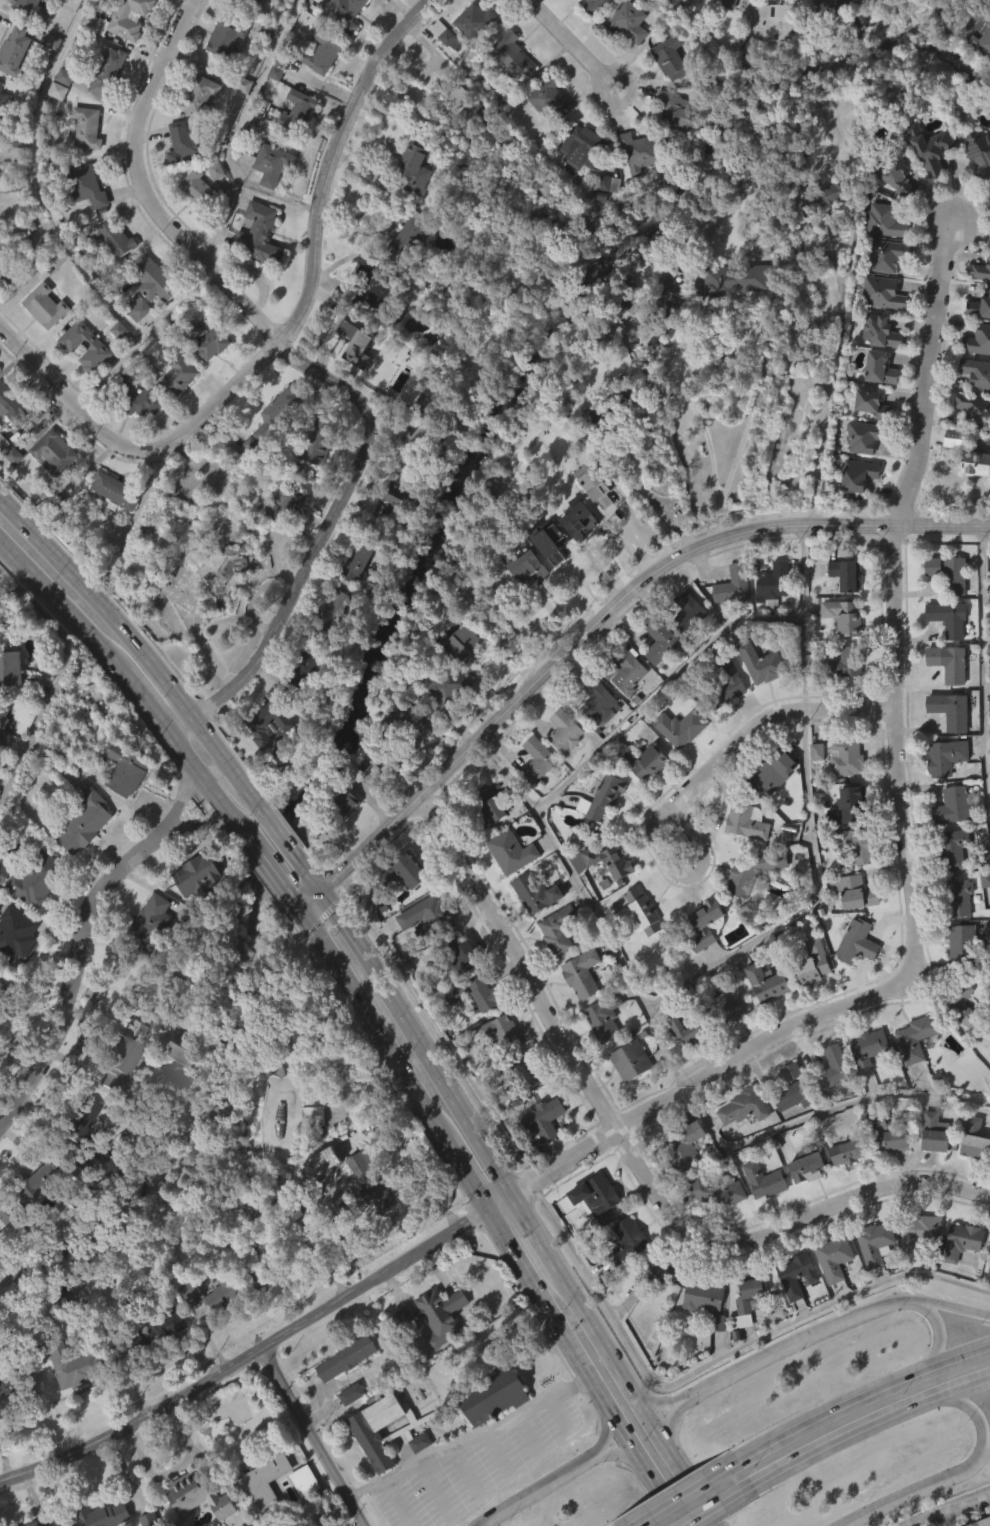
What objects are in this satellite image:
building: (371, 0)
building: (541, 0)
building: (111, 2)
building: (880, 2)
building: (251, 3)
building: (726, 3)
building: (593, 5)
building: (682, 5)
building: (29, 8)
building: (290, 9)
building: (828, 9)
building: (344, 12)
building: (853, 12)
building: (74, 19)
building: (120, 19)
building: (720, 20)
building: (475, 21)
building: (628, 21)
building: (583, 22)
building: (773, 22)
building: (822, 27)
building: (444, 34)
road: (567, 35)
building: (982, 36)
building: (226, 38)
building: (341, 39)
building: (118, 48)
building: (13, 50)
building: (323, 51)
building: (470, 53)
road: (438, 54)
building: (623, 54)
building: (767, 55)
building: (512, 56)
building: (673, 57)
road: (413, 63)
building: (977, 65)
building: (441, 67)
building: (221, 69)
building: (107, 72)
building: (48, 74)
road: (633, 79)
building: (0, 83)
building: (318, 86)
building: (509, 87)
building: (666, 90)
building: (198, 95)
building: (550, 97)
building: (2, 105)
building: (102, 105)
building: (272, 105)
building: (61, 108)
building: (299, 111)
building: (676, 111)
building: (472, 119)
building: (54, 123)
building: (86, 127)
building: (195, 127)
building: (546, 133)
building: (1, 137)
building: (185, 143)
building: (294, 144)
building: (669, 144)
building: (583, 147)
building: (930, 147)
building: (641, 151)
building: (979, 152)
building: (83, 160)
building: (272, 162)
building: (413, 169)
building: (179, 175)
building: (897, 176)
building: (578, 179)
building: (925, 181)
building: (635, 185)
building: (976, 186)
building: (85, 187)
building: (607, 187)
building: (198, 189)
building: (821, 197)
building: (265, 198)
building: (410, 201)
building: (211, 202)
building: (890, 205)
building: (83, 218)
building: (597, 219)
building: (987, 219)
building: (193, 220)
building: (886, 221)
road: (387, 229)
building: (815, 231)
building: (258, 234)
building: (114, 238)
building: (411, 240)
building: (888, 255)
building: (23, 258)
building: (9, 264)
building: (253, 267)
building: (403, 269)
building: (110, 271)
building: (982, 271)
building: (737, 279)
building: (155, 280)
building: (883, 293)
building: (537, 296)
building: (6, 302)
building: (45, 306)
building: (138, 308)
building: (664, 308)
building: (979, 308)
building: (731, 312)
building: (368, 319)
building: (664, 331)
building: (879, 332)
building: (41, 338)
road: (282, 339)
building: (359, 339)
building: (133, 340)
building: (206, 340)
building: (979, 340)
building: (95, 345)
building: (115, 362)
building: (134, 368)
building: (878, 368)
building: (977, 373)
building: (178, 374)
road: (322, 374)
building: (208, 376)
building: (353, 377)
building: (82, 378)
road: (834, 386)
building: (137, 401)
building: (871, 404)
building: (174, 405)
building: (13, 406)
building: (975, 410)
building: (605, 411)
road: (752, 415)
building: (272, 418)
road: (701, 422)
building: (134, 433)
building: (9, 437)
building: (867, 437)
building: (956, 438)
building: (319, 440)
building: (274, 447)
building: (591, 448)
building: (416, 449)
building: (54, 453)
building: (975, 464)
building: (949, 469)
building: (414, 470)
building: (857, 475)
building: (311, 480)
building: (595, 480)
building: (50, 482)
building: (9, 487)
building: (116, 491)
building: (972, 494)
building: (289, 496)
building: (395, 501)
building: (854, 506)
road: (661, 507)
building: (591, 515)
building: (577, 517)
building: (112, 523)
building: (390, 531)
building: (548, 539)
building: (573, 551)
building: (359, 562)
building: (847, 573)
building: (953, 576)
building: (230, 580)
building: (734, 584)
building: (773, 584)
building: (353, 594)
building: (928, 598)
building: (522, 599)
road: (622, 602)
road: (57, 603)
building: (0, 608)
building: (331, 608)
building: (689, 611)
building: (843, 615)
building: (768, 617)
road: (803, 617)
building: (949, 617)
building: (727, 618)
building: (330, 637)
building: (660, 640)
road: (133, 642)
building: (682, 643)
building: (838, 648)
building: (944, 650)
building: (761, 662)
building: (845, 662)
building: (950, 662)
building: (10, 667)
building: (303, 667)
building: (625, 669)
building: (655, 673)
road: (57, 676)
building: (724, 682)
building: (446, 687)
road: (661, 687)
building: (930, 688)
building: (840, 695)
building: (756, 696)
building: (299, 699)
building: (599, 699)
building: (9, 700)
building: (624, 703)
road: (142, 704)
building: (951, 709)
building: (724, 712)
building: (267, 720)
building: (443, 720)
building: (4, 725)
building: (409, 725)
building: (680, 727)
building: (565, 730)
building: (593, 732)
road: (750, 734)
building: (945, 742)
building: (264, 754)
building: (413, 754)
building: (948, 756)
building: (538, 758)
building: (848, 758)
building: (675, 759)
building: (645, 760)
building: (560, 763)
road: (213, 767)
road: (898, 767)
building: (124, 768)
building: (3, 769)
building: (381, 769)
building: (776, 775)
building: (812, 783)
road: (208, 787)
building: (941, 788)
building: (842, 790)
building: (533, 791)
building: (638, 793)
building: (603, 797)
building: (120, 801)
building: (768, 803)
road: (177, 805)
building: (370, 805)
building: (850, 805)
building: (954, 805)
building: (989, 808)
building: (491, 809)
building: (346, 811)
building: (747, 821)
road: (195, 823)
building: (88, 825)
building: (598, 829)
road: (281, 832)
building: (341, 835)
building: (486, 836)
building: (856, 844)
building: (954, 848)
building: (512, 852)
building: (742, 853)
building: (79, 855)
building: (610, 859)
road: (268, 865)
building: (405, 870)
building: (4, 872)
building: (749, 873)
building: (204, 877)
building: (852, 877)
building: (37, 878)
road: (315, 878)
road: (334, 882)
building: (948, 882)
building: (506, 884)
building: (856, 891)
traffic signals: (325, 892)
building: (605, 892)
building: (535, 893)
building: (961, 896)
road: (315, 903)
building: (400, 903)
building: (747, 904)
road: (299, 905)
building: (30, 909)
building: (195, 909)
building: (983, 911)
building: (643, 912)
traffic signals: (306, 914)
building: (429, 914)
building: (149, 922)
building: (707, 923)
building: (531, 926)
building: (559, 929)
building: (955, 929)
building: (15, 934)
building: (988, 935)
building: (857, 940)
building: (965, 943)
building: (638, 944)
building: (461, 952)
building: (146, 954)
building: (700, 955)
road: (520, 960)
building: (553, 961)
building: (813, 963)
building: (14, 966)
building: (582, 974)
building: (850, 974)
building: (956, 975)
road: (80, 983)
building: (767, 983)
building: (459, 989)
road: (688, 991)
building: (485, 994)
building: (807, 994)
building: (6, 999)
building: (731, 1002)
building: (961, 1004)
building: (577, 1006)
building: (762, 1015)
building: (604, 1017)
building: (2, 1022)
building: (478, 1024)
building: (451, 1025)
building: (695, 1025)
building: (499, 1032)
building: (727, 1034)
building: (956, 1036)
building: (918, 1037)
road: (419, 1043)
road: (673, 1044)
building: (869, 1049)
building: (597, 1052)
building: (0, 1054)
building: (121, 1058)
building: (632, 1060)
building: (685, 1061)
building: (496, 1062)
building: (911, 1069)
building: (524, 1072)
building: (837, 1072)
building: (863, 1080)
building: (176, 1085)
building: (117, 1086)
building: (795, 1088)
building: (626, 1092)
building: (831, 1103)
building: (524, 1105)
building: (745, 1107)
building: (312, 1116)
road: (822, 1117)
building: (544, 1119)
building: (83, 1124)
building: (787, 1127)
building: (887, 1134)
building: (935, 1134)
building: (739, 1138)
building: (973, 1139)
building: (307, 1146)
building: (685, 1148)
building: (845, 1149)
building: (540, 1150)
building: (73, 1151)
road: (565, 1163)
building: (105, 1164)
building: (930, 1164)
building: (808, 1165)
building: (971, 1171)
building: (887, 1172)
road: (467, 1173)
building: (680, 1178)
building: (765, 1180)
building: (842, 1181)
building: (368, 1183)
building: (49, 1184)
building: (721, 1189)
road: (429, 1194)
building: (802, 1197)
building: (99, 1198)
building: (593, 1198)
road: (502, 1202)
building: (26, 1212)
building: (759, 1212)
building: (279, 1217)
building: (588, 1229)
road: (779, 1230)
road: (537, 1233)
building: (921, 1236)
building: (626, 1241)
building: (963, 1241)
building: (876, 1243)
building: (0, 1250)
building: (836, 1258)
building: (915, 1264)
building: (658, 1270)
building: (623, 1272)
building: (957, 1272)
building: (870, 1273)
building: (798, 1276)
road: (593, 1282)
building: (988, 1285)
building: (233, 1287)
building: (829, 1289)
building: (751, 1297)
building: (658, 1299)
building: (706, 1302)
building: (792, 1306)
road: (947, 1306)
building: (435, 1316)
building: (186, 1321)
building: (217, 1326)
road: (937, 1329)
building: (156, 1333)
building: (701, 1333)
building: (743, 1333)
road: (786, 1345)
building: (432, 1346)
road: (605, 1346)
road: (248, 1355)
building: (346, 1359)
building: (153, 1361)
building: (75, 1365)
building: (9, 1393)
building: (351, 1395)
building: (491, 1395)
building: (67, 1397)
road: (864, 1402)
road: (655, 1404)
road: (966, 1406)
road: (52, 1409)
road: (555, 1413)
building: (2, 1421)
road: (667, 1423)
building: (345, 1426)
building: (490, 1426)
road: (870, 1428)
building: (375, 1429)
road: (606, 1430)
road: (525, 1434)
road: (312, 1437)
road: (469, 1440)
road: (985, 1447)
road: (615, 1451)
road: (495, 1453)
building: (378, 1459)
road: (176, 1468)
road: (465, 1473)
road: (680, 1473)
building: (415, 1474)
building: (261, 1478)
road: (653, 1480)
road: (535, 1489)
road: (914, 1491)
road: (685, 1492)
road: (435, 1494)
building: (197, 1495)
building: (262, 1504)
road: (396, 1506)
road: (722, 1506)
road: (949, 1507)
building: (300, 1511)
building: (102, 1515)
building: (186, 1517)
building: (981, 1522)
building: (39, 1523)
building: (17, 1525)
building: (222, 1525)

